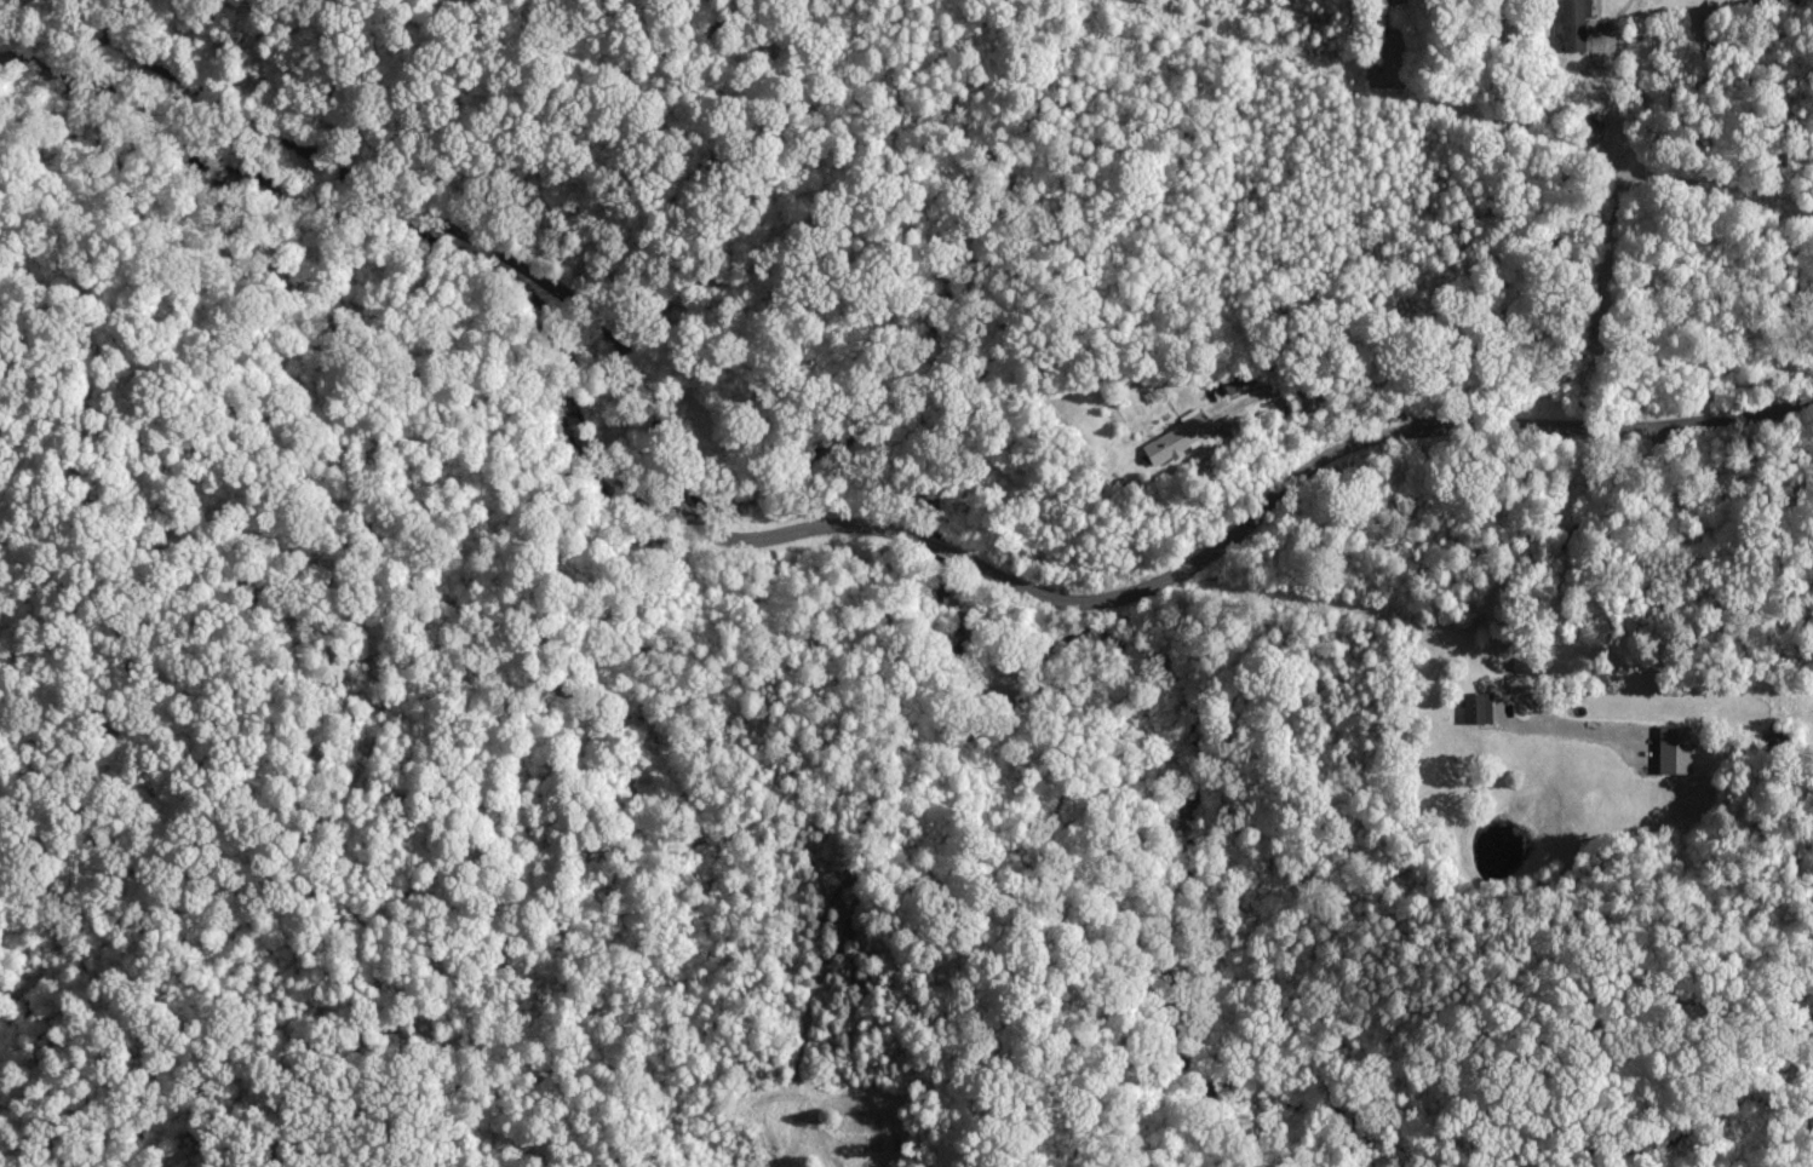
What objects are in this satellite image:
road: (52, 4)
building: (1578, 24)
road: (88, 28)
road: (1501, 205)
building: (1180, 439)
road: (935, 516)
building: (1482, 708)
building: (1680, 751)

